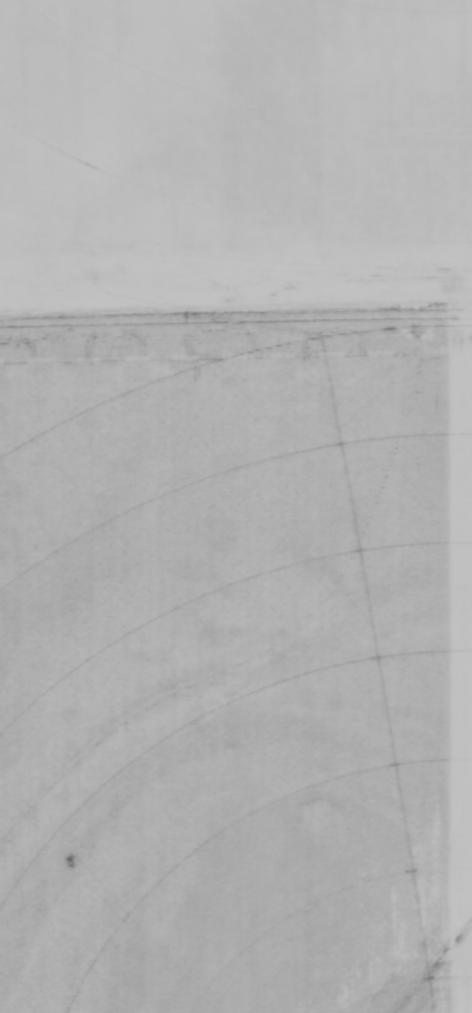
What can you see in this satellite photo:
crop: (236, 506)

